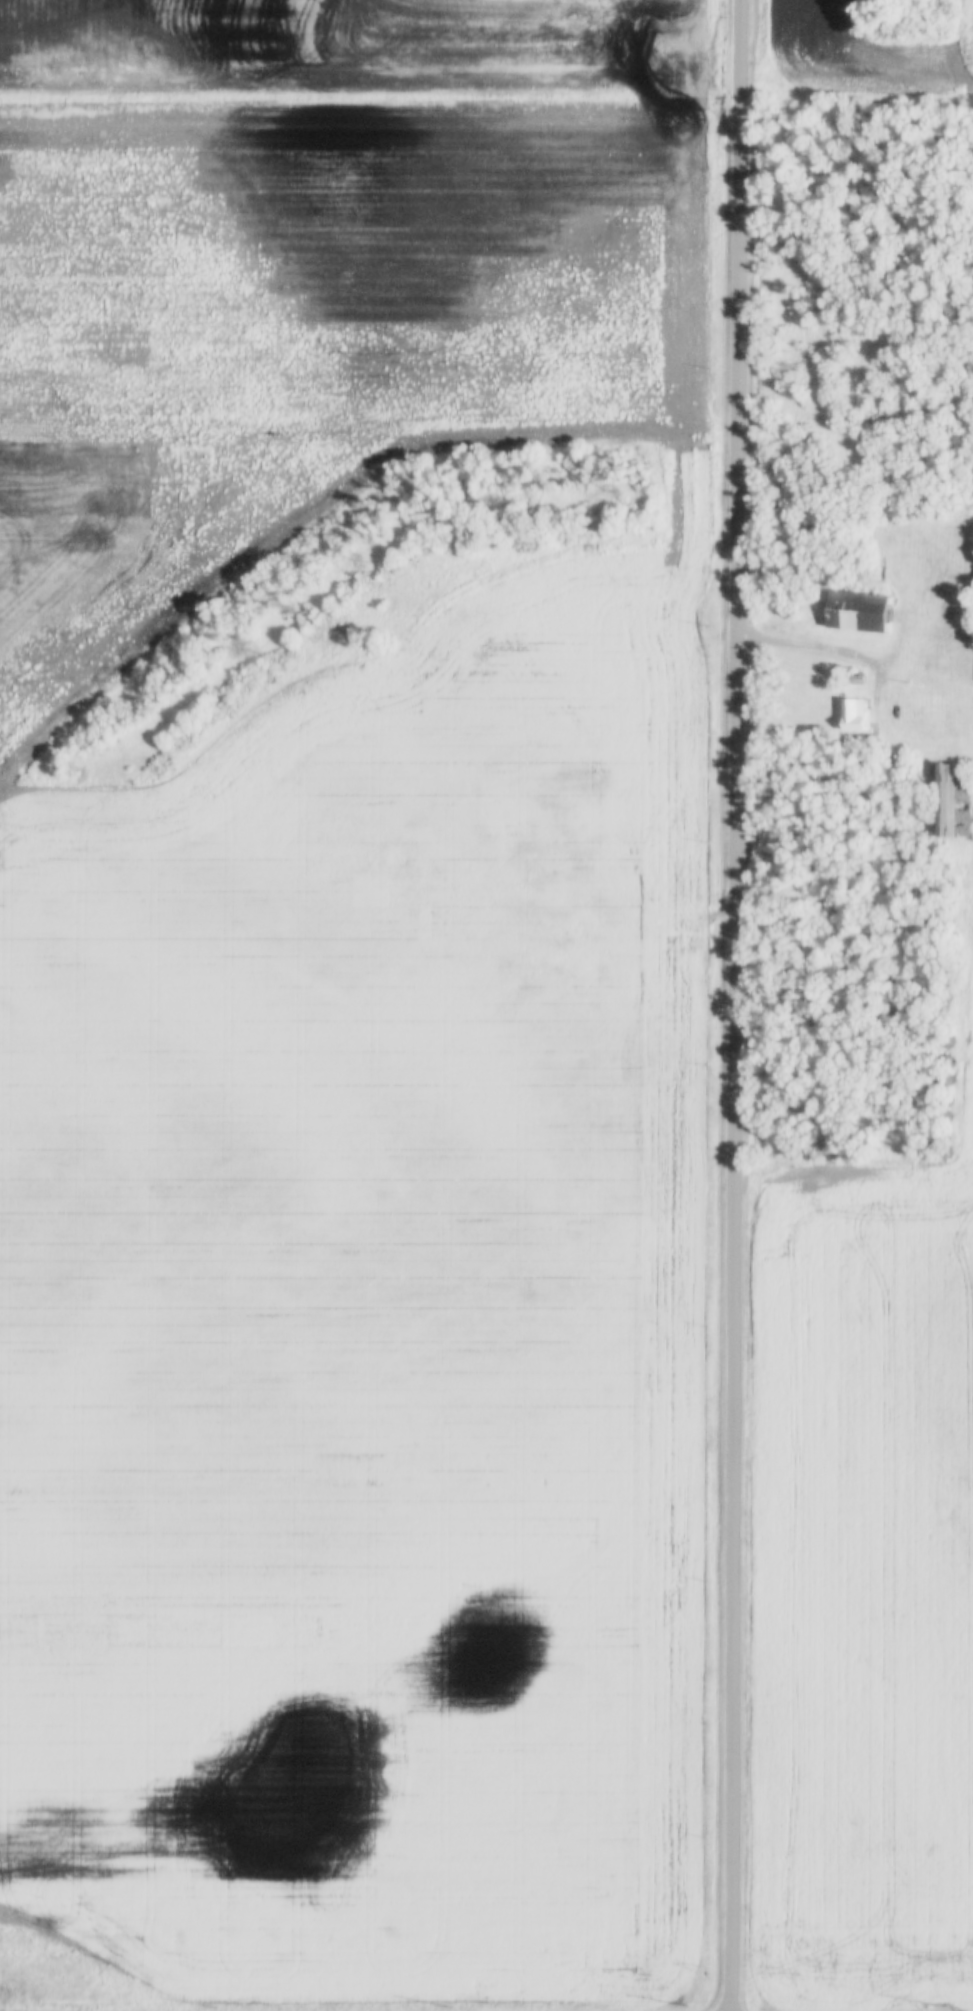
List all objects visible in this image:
crop: (861, 47)
road: (858, 84)
road: (313, 113)
building: (859, 614)
road: (819, 647)
building: (860, 681)
building: (859, 715)
building: (957, 802)
road: (734, 1005)
crop: (351, 1027)
building: (949, 1038)
silo: (949, 1038)
building: (946, 1060)
silo: (946, 1060)
building: (947, 1078)
silo: (947, 1078)
building: (946, 1096)
silo: (946, 1096)
building: (945, 1113)
silo: (945, 1113)
building: (944, 1132)
silo: (944, 1132)
building: (945, 1150)
silo: (945, 1150)
crop: (861, 1586)

